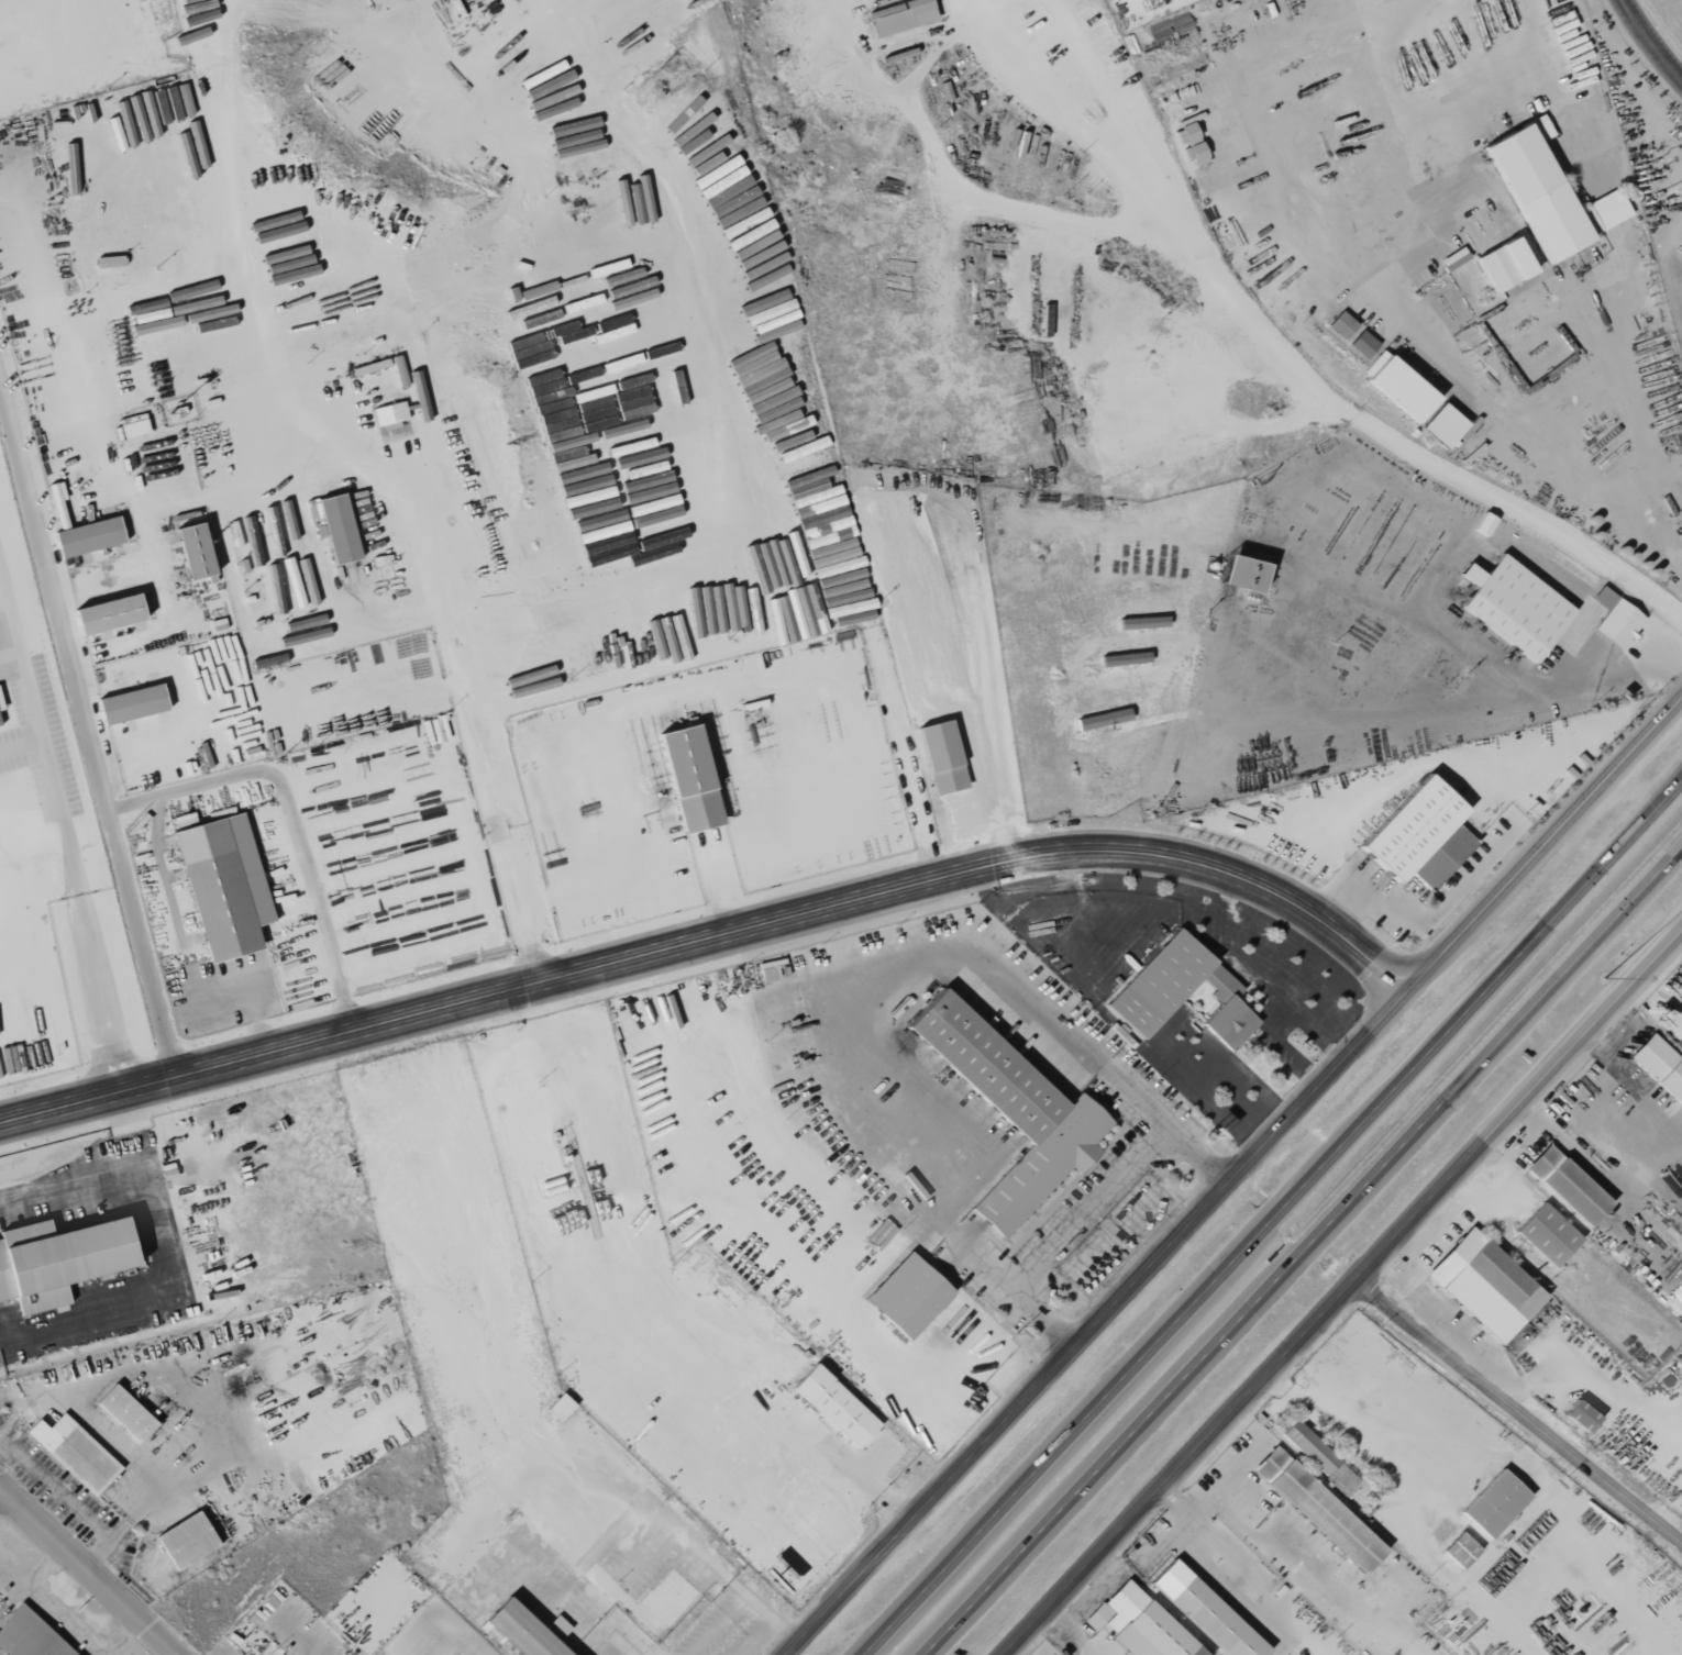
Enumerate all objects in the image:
building: (900, 16)
road: (1657, 35)
road: (1114, 114)
road: (1067, 127)
building: (1193, 141)
building: (1548, 193)
building: (1453, 259)
building: (1505, 264)
building: (1341, 325)
building: (1363, 344)
building: (1398, 387)
building: (389, 415)
building: (133, 425)
building: (1442, 425)
road: (1416, 452)
building: (811, 485)
road: (140, 488)
building: (1484, 524)
building: (334, 527)
building: (88, 537)
building: (193, 553)
building: (1243, 575)
building: (1514, 607)
road: (10, 612)
building: (107, 615)
road: (443, 615)
building: (1616, 619)
road: (10, 653)
road: (1464, 653)
road: (1649, 664)
building: (131, 704)
building: (0, 706)
building: (1103, 719)
road: (85, 731)
building: (941, 757)
building: (689, 780)
road: (1675, 780)
road: (294, 820)
building: (1413, 827)
building: (1443, 857)
road: (73, 871)
building: (223, 887)
road: (713, 944)
building: (1181, 991)
building: (1660, 1066)
building: (1010, 1110)
road: (1232, 1175)
building: (1567, 1185)
road: (1085, 1210)
road: (1270, 1215)
building: (1547, 1234)
road: (157, 1246)
road: (1301, 1247)
building: (57, 1260)
building: (1485, 1286)
building: (907, 1296)
road: (1347, 1296)
road: (1590, 1377)
building: (836, 1407)
building: (560, 1408)
road: (1520, 1411)
building: (125, 1412)
building: (1581, 1417)
road: (1678, 1425)
road: (1678, 1434)
building: (74, 1452)
building: (1319, 1456)
building: (1494, 1503)
building: (1318, 1509)
building: (186, 1540)
road: (1220, 1548)
building: (1460, 1550)
road: (89, 1569)
building: (1206, 1611)
building: (1140, 1624)
building: (521, 1631)
road: (1073, 1632)
road: (458, 1634)
building: (29, 1636)

